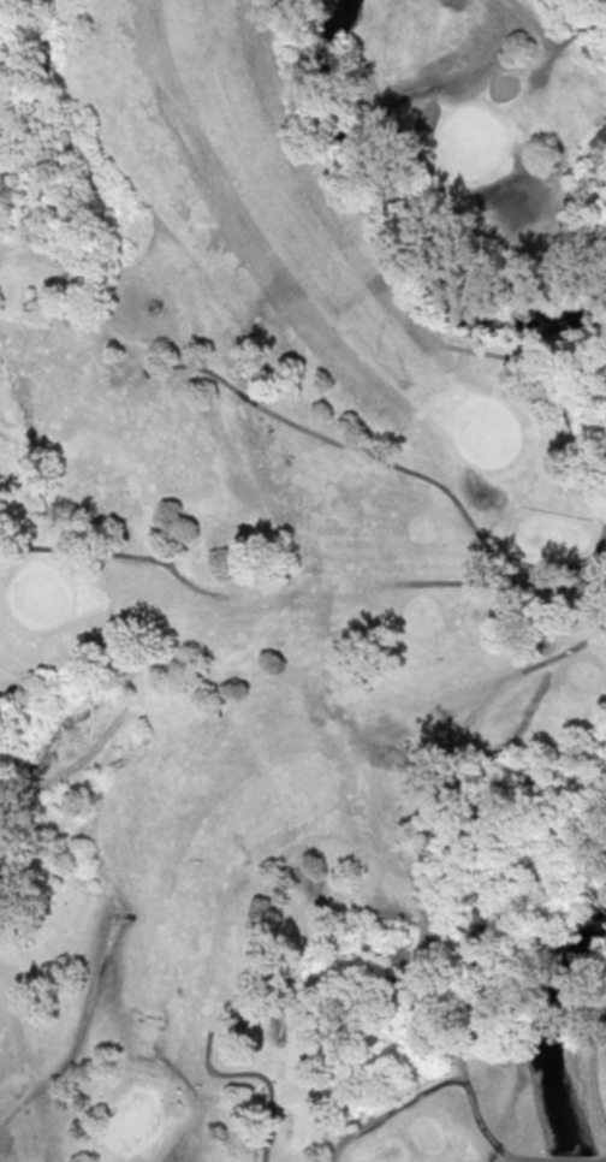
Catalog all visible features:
river: (414, 217)
park: (303, 581)
river: (552, 1032)

